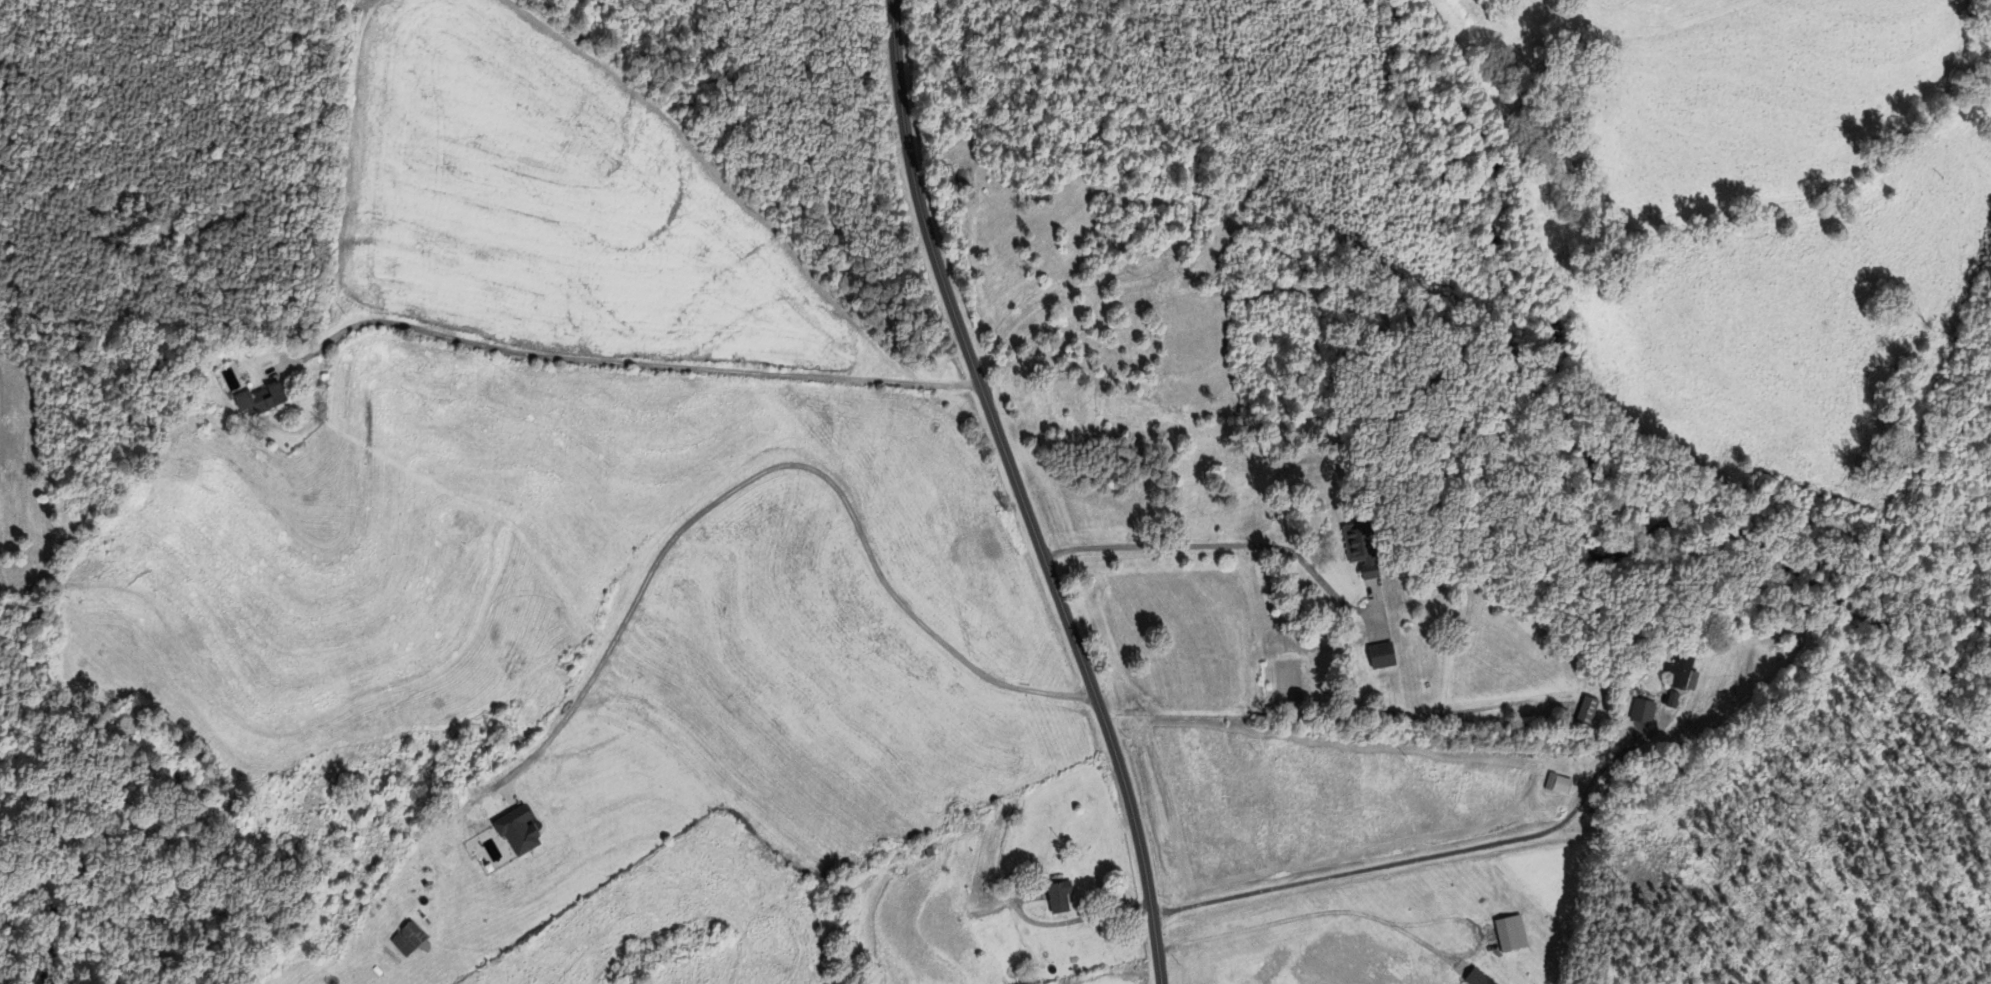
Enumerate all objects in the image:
road: (620, 361)
building: (256, 399)
road: (747, 481)
road: (1019, 493)
road: (1221, 544)
building: (1362, 548)
building: (1380, 655)
building: (1683, 673)
building: (1587, 710)
building: (1642, 711)
building: (1558, 783)
road: (1430, 856)
building: (418, 891)
building: (1058, 896)
road: (1304, 920)
building: (406, 938)

